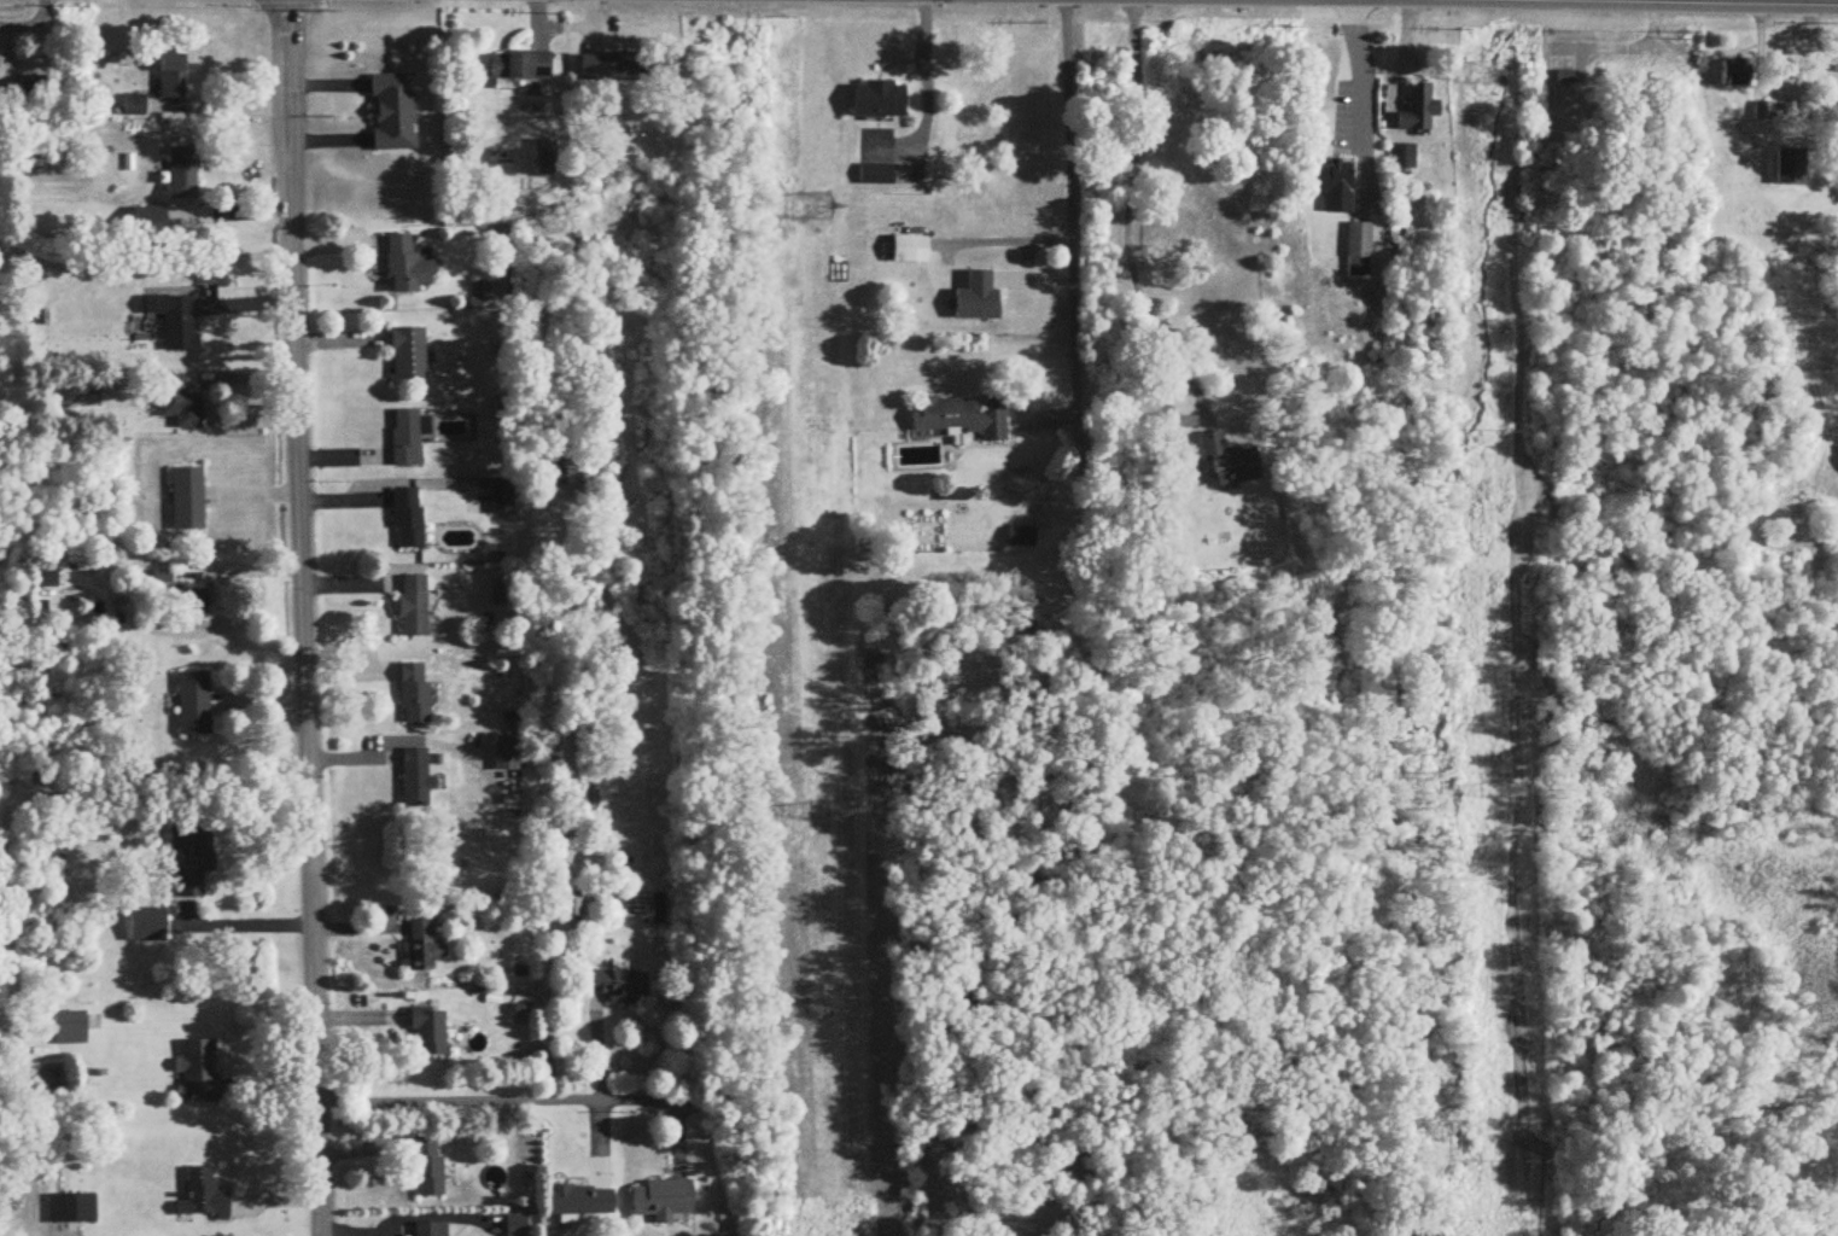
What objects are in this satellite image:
building: (520, 66)
building: (614, 68)
building: (1737, 74)
power tower: (1481, 75)
building: (171, 77)
building: (31, 91)
road: (928, 93)
road: (1365, 95)
building: (880, 100)
building: (134, 106)
road: (218, 109)
building: (1419, 110)
building: (1769, 112)
building: (393, 113)
building: (1404, 158)
road: (1134, 161)
building: (183, 175)
building: (877, 176)
building: (1331, 181)
power tower: (816, 205)
road: (1069, 234)
building: (911, 251)
building: (1358, 251)
building: (405, 267)
building: (979, 299)
building: (176, 321)
building: (409, 355)
building: (180, 403)
building: (962, 418)
road: (1191, 418)
building: (408, 439)
building: (1231, 461)
building: (502, 497)
building: (188, 500)
building: (408, 518)
building: (1022, 536)
road: (218, 572)
building: (46, 578)
building: (193, 604)
building: (414, 606)
road: (302, 618)
building: (414, 693)
building: (194, 704)
building: (506, 756)
building: (415, 777)
power tower: (1507, 787)
power tower: (834, 812)
building: (192, 858)
building: (573, 900)
building: (151, 927)
road: (244, 927)
building: (424, 946)
building: (619, 986)
building: (69, 1028)
building: (430, 1033)
building: (198, 1071)
road: (492, 1101)
building: (428, 1168)
building: (203, 1199)
building: (661, 1200)
building: (579, 1201)
building: (72, 1208)
building: (431, 1230)

